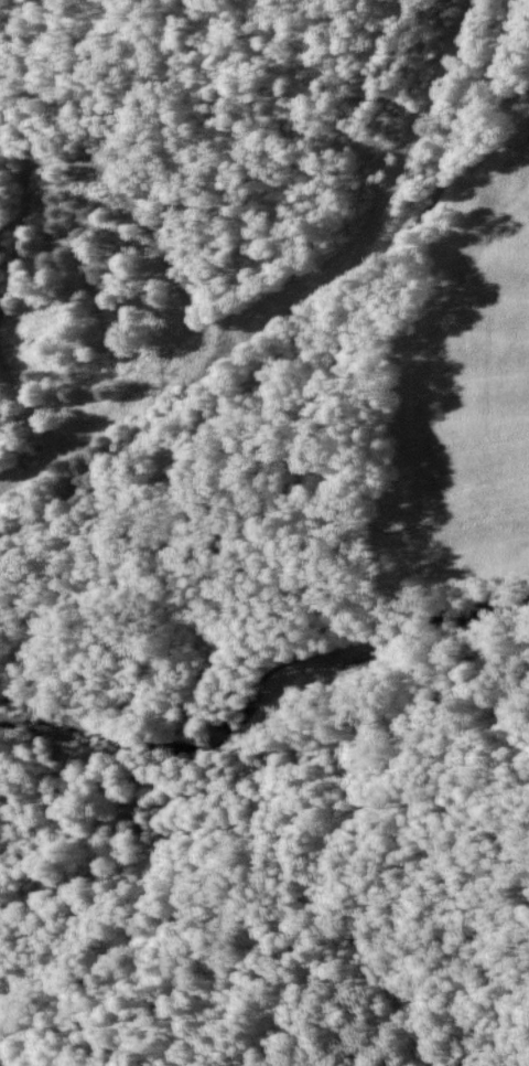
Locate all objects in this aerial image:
road: (381, 211)
road: (133, 503)

